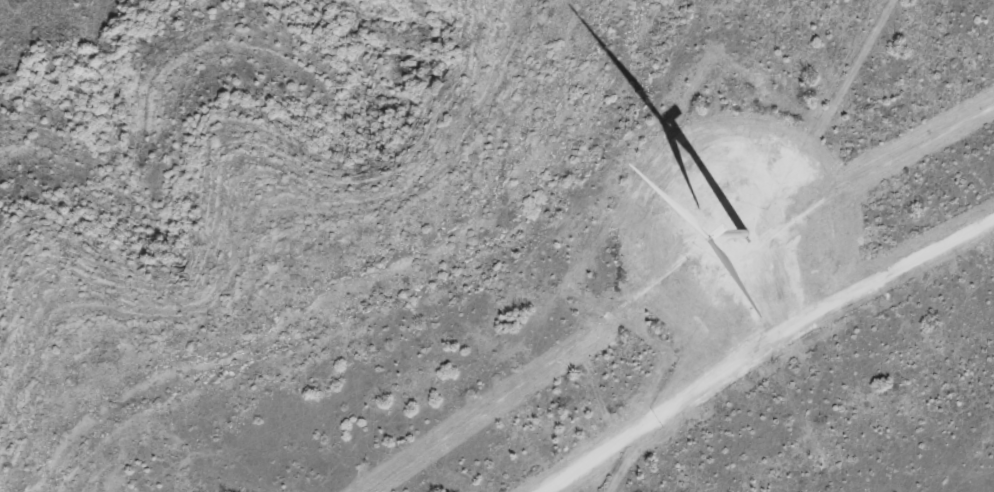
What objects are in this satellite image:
wind turbine: (738, 227)

